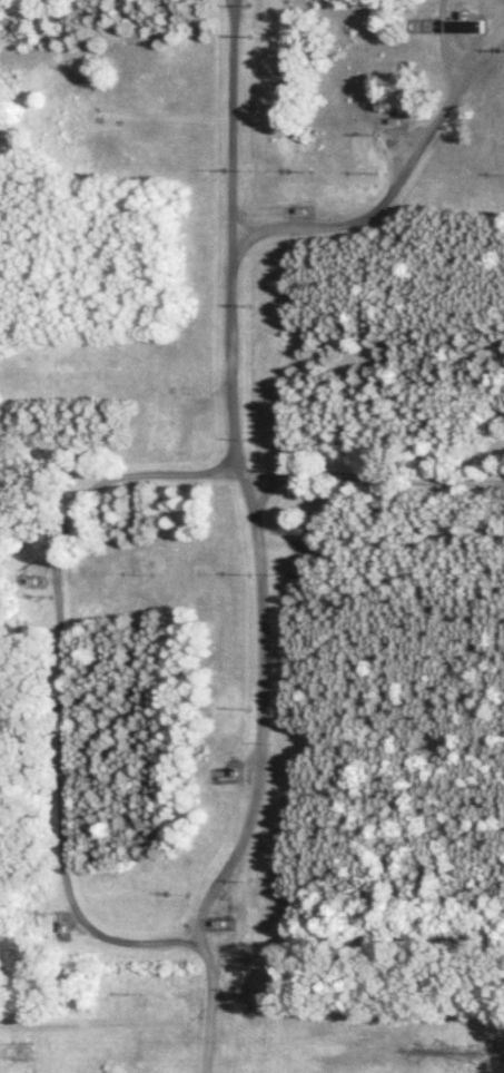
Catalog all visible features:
road: (233, 132)
road: (234, 450)
road: (358, 480)
road: (62, 688)
road: (209, 1035)
power tower: (21, 1053)
power tower: (482, 1053)

